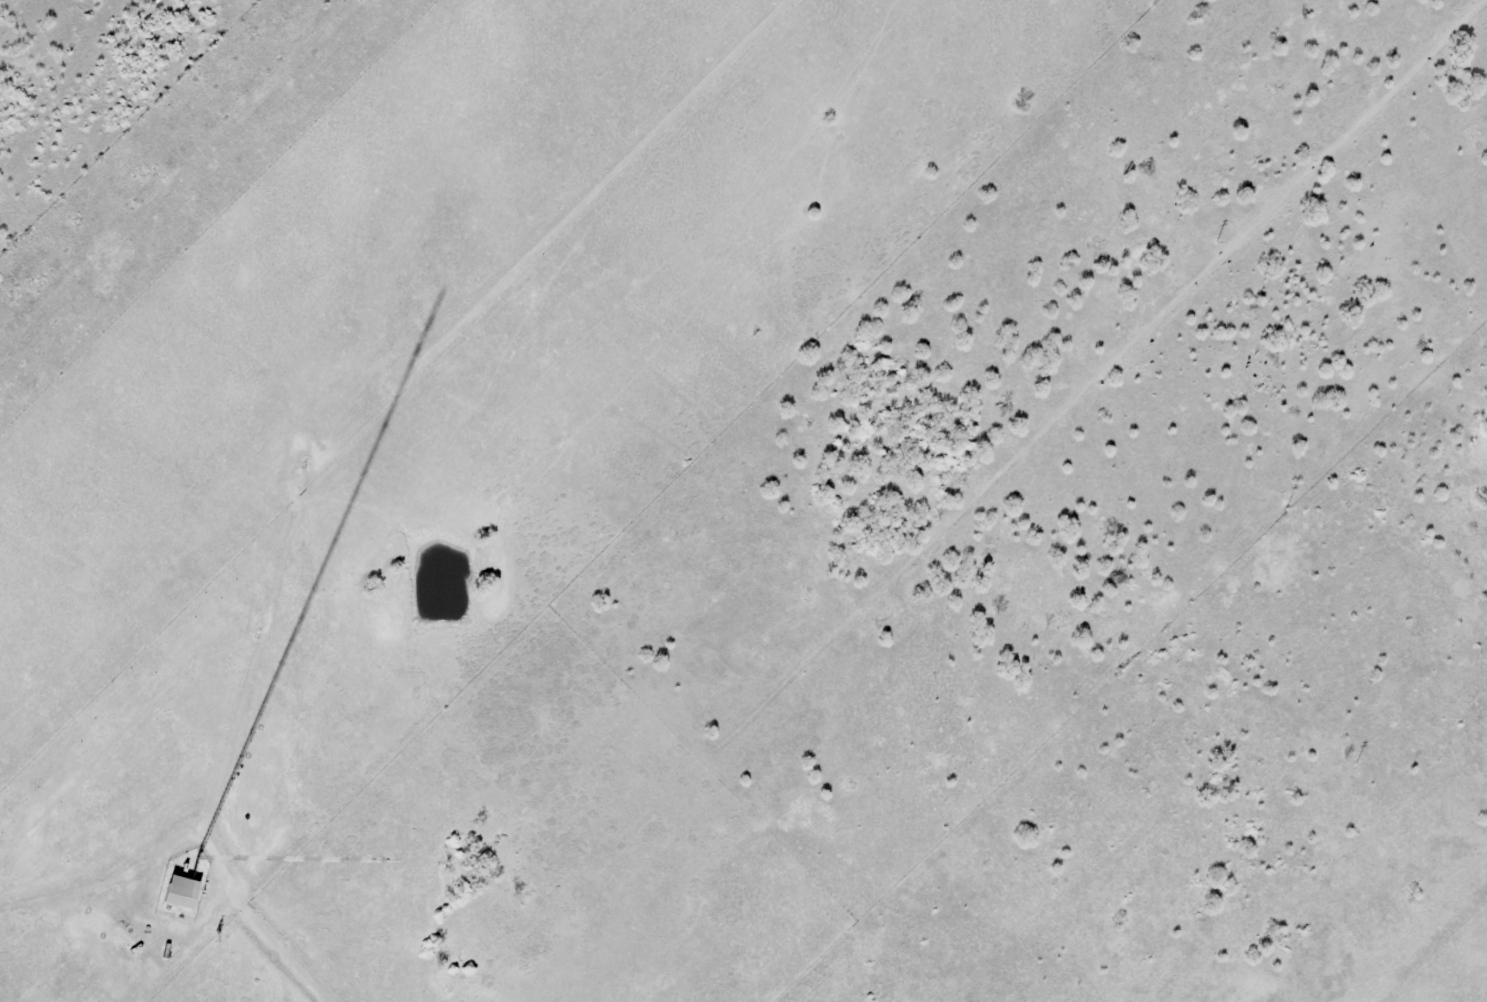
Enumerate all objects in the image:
building: (179, 891)

